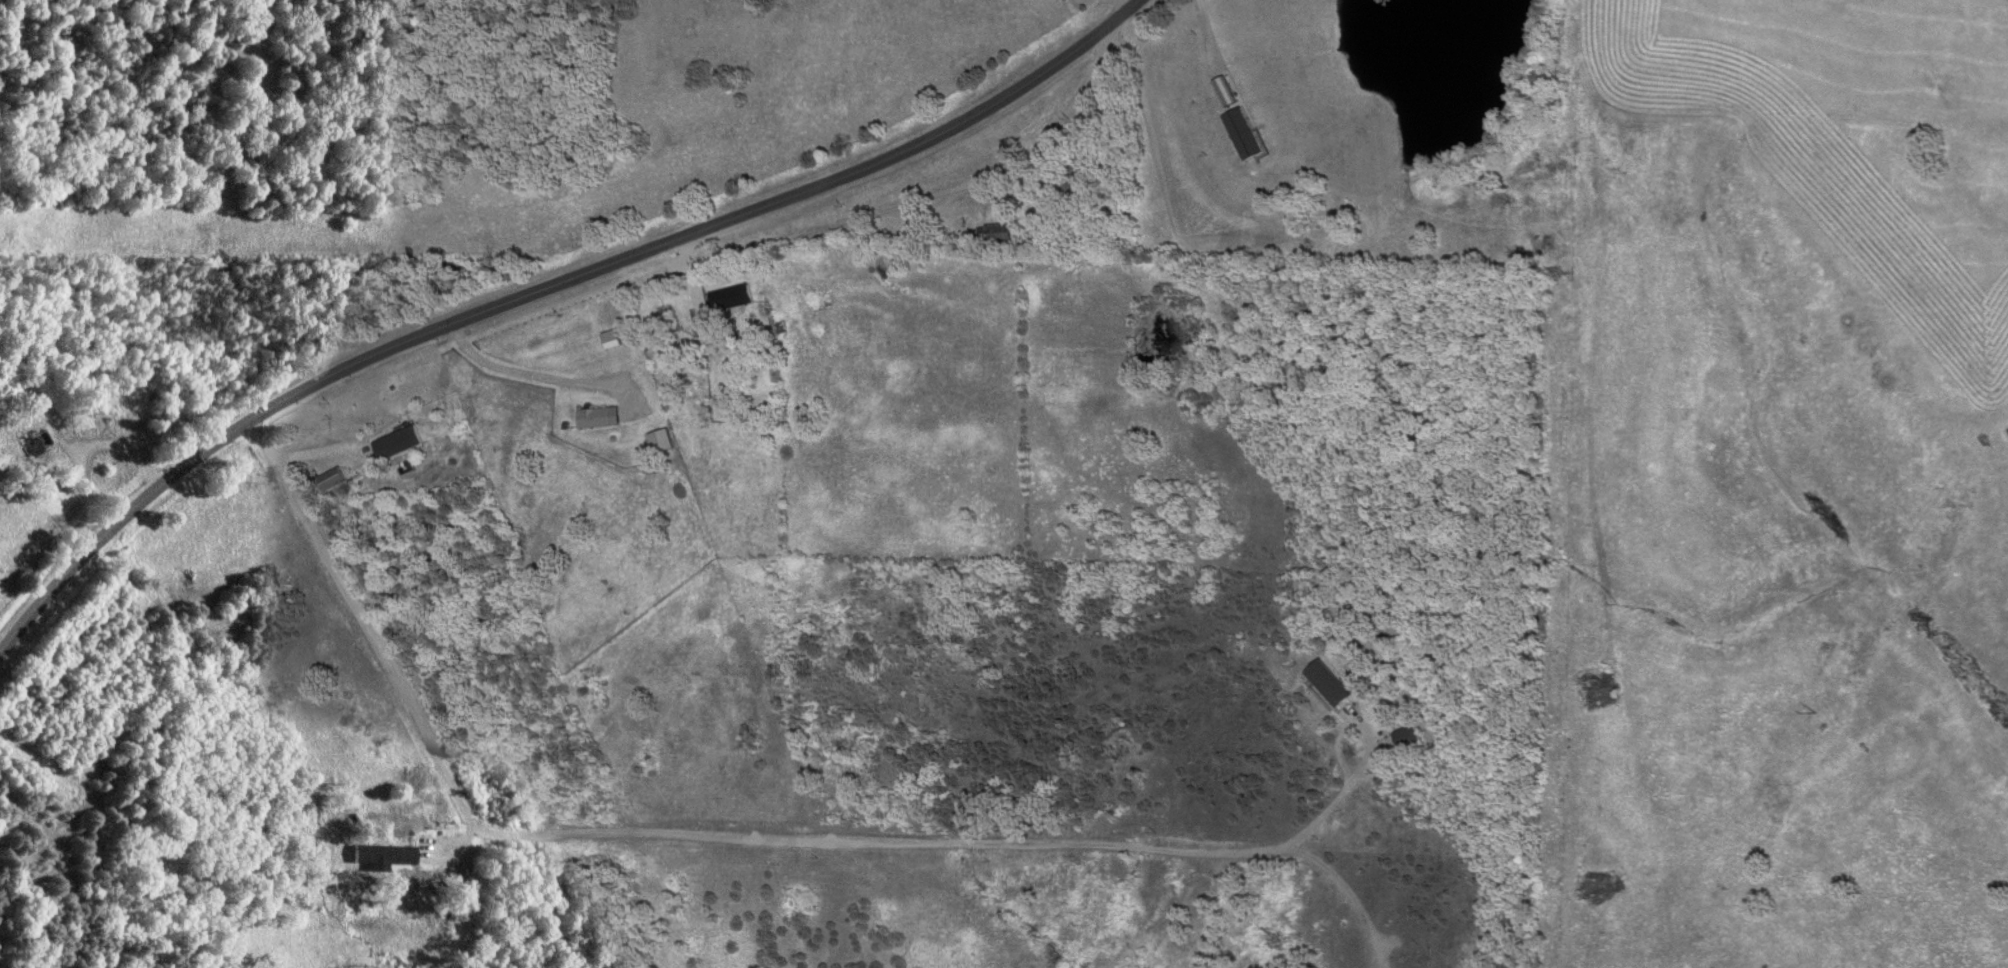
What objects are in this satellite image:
road: (1122, 6)
road: (1204, 30)
building: (1221, 92)
building: (1239, 135)
road: (932, 192)
building: (991, 235)
road: (544, 289)
building: (734, 299)
building: (613, 337)
building: (599, 419)
building: (663, 443)
building: (400, 444)
building: (336, 480)
building: (1324, 685)
building: (1404, 740)
road: (766, 840)
building: (386, 857)
road: (1336, 882)
road: (1372, 955)
road: (1378, 955)

